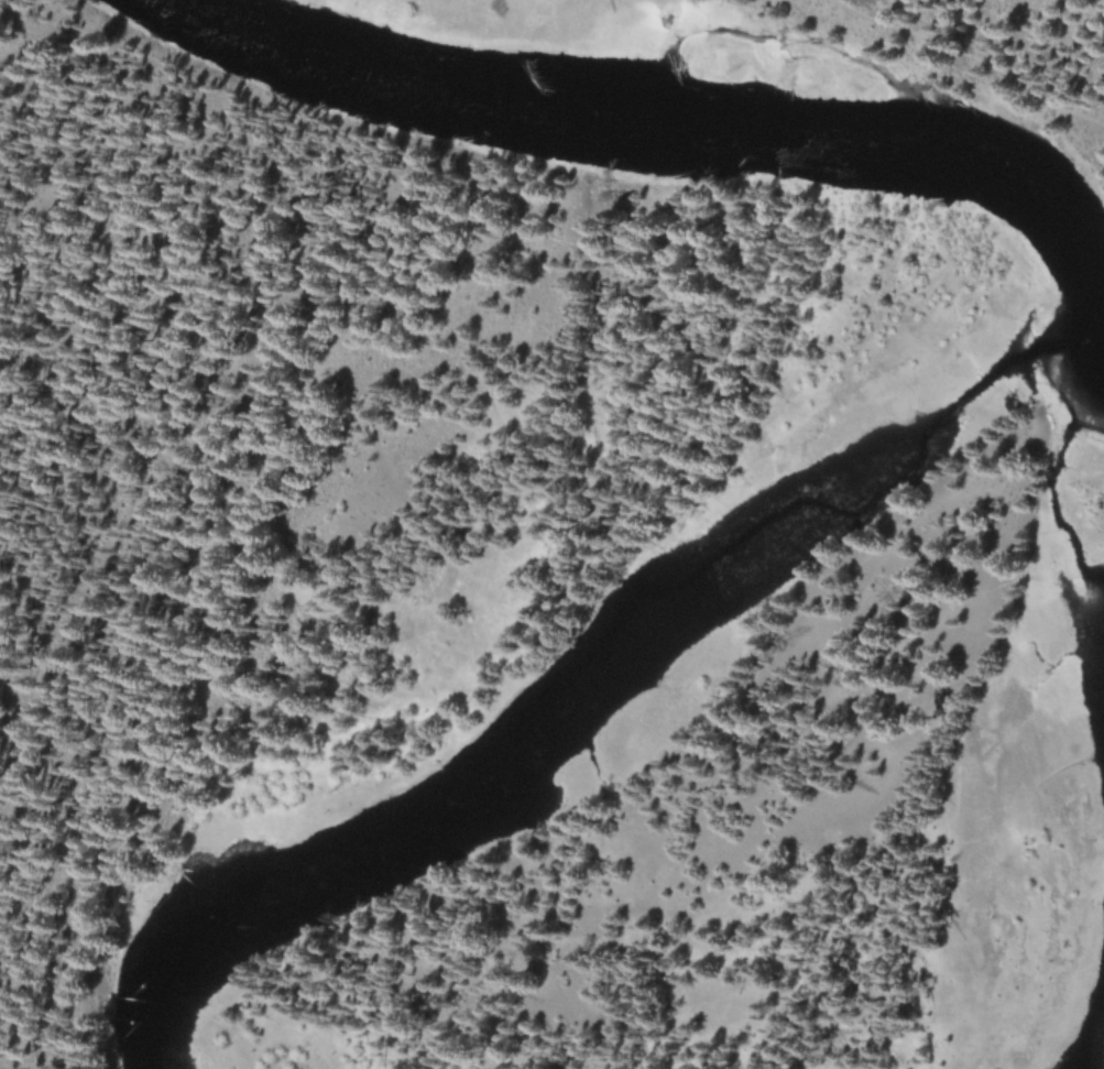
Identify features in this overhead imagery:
road: (972, 57)
river: (680, 127)
river: (1052, 500)
road: (91, 574)
river: (593, 679)
river: (1095, 1056)

